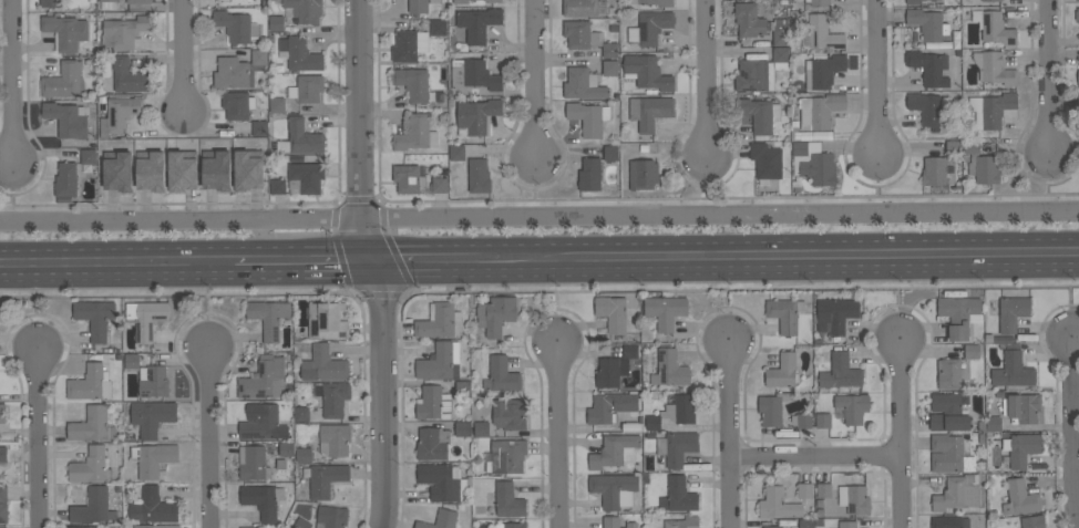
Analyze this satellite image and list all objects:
building: (928, 0)
building: (991, 0)
building: (1078, 0)
building: (460, 1)
building: (494, 1)
building: (915, 1)
building: (51, 2)
building: (655, 2)
building: (819, 2)
building: (107, 3)
building: (138, 4)
building: (420, 6)
building: (579, 8)
building: (305, 10)
building: (1077, 14)
building: (749, 20)
building: (276, 22)
building: (479, 22)
building: (927, 23)
building: (236, 25)
building: (994, 27)
building: (438, 28)
building: (649, 28)
building: (64, 32)
building: (123, 32)
building: (823, 32)
building: (580, 34)
building: (780, 38)
building: (409, 45)
building: (609, 50)
building: (300, 53)
road: (184, 56)
building: (258, 56)
building: (780, 58)
building: (609, 68)
building: (929, 68)
building: (994, 69)
building: (823, 71)
building: (235, 72)
building: (646, 72)
building: (473, 74)
building: (127, 75)
building: (754, 75)
building: (1078, 77)
road: (707, 79)
road: (1050, 79)
road: (875, 80)
building: (63, 81)
road: (535, 81)
building: (412, 83)
road: (12, 84)
building: (583, 84)
building: (307, 89)
building: (1078, 99)
building: (237, 104)
building: (277, 104)
building: (925, 107)
building: (990, 108)
building: (649, 111)
building: (820, 111)
building: (119, 114)
building: (761, 115)
building: (476, 116)
building: (588, 117)
building: (66, 118)
building: (259, 127)
building: (415, 134)
building: (300, 138)
building: (972, 146)
building: (610, 152)
building: (456, 153)
building: (88, 156)
building: (765, 161)
building: (813, 163)
building: (984, 168)
building: (216, 169)
building: (247, 169)
building: (117, 170)
building: (151, 170)
building: (182, 170)
building: (934, 170)
building: (590, 174)
building: (643, 174)
building: (307, 176)
building: (479, 176)
building: (408, 178)
building: (65, 179)
building: (439, 185)
building: (278, 186)
road: (538, 216)
road: (792, 258)
road: (440, 261)
road: (304, 262)
road: (373, 263)
road: (116, 265)
road: (897, 296)
road: (1073, 298)
road: (731, 301)
road: (557, 302)
road: (206, 304)
road: (33, 307)
building: (665, 310)
building: (1013, 312)
building: (612, 313)
building: (784, 313)
building: (495, 314)
building: (834, 314)
building: (958, 314)
building: (95, 317)
building: (268, 317)
building: (145, 318)
building: (328, 320)
building: (440, 321)
building: (629, 350)
building: (132, 361)
building: (440, 362)
building: (323, 364)
building: (669, 369)
building: (610, 371)
building: (781, 371)
building: (1013, 371)
building: (840, 372)
building: (948, 373)
building: (501, 374)
building: (264, 379)
building: (153, 381)
building: (90, 383)
building: (332, 398)
building: (433, 403)
building: (610, 406)
building: (852, 407)
building: (1021, 407)
building: (680, 408)
building: (769, 410)
building: (2, 413)
building: (510, 413)
building: (947, 413)
building: (301, 414)
building: (152, 416)
building: (803, 421)
building: (823, 421)
building: (261, 422)
building: (652, 422)
building: (993, 423)
building: (92, 425)
building: (462, 428)
building: (481, 428)
road: (1073, 429)
road: (900, 431)
road: (731, 435)
road: (561, 436)
road: (35, 437)
road: (209, 437)
building: (335, 439)
building: (432, 444)
building: (677, 447)
building: (286, 448)
building: (1020, 448)
building: (612, 451)
building: (3, 454)
building: (949, 454)
building: (304, 455)
building: (507, 455)
building: (153, 458)
road: (816, 458)
building: (251, 463)
building: (90, 465)
building: (325, 478)
building: (441, 482)
building: (614, 489)
building: (823, 489)
building: (804, 490)
building: (3, 493)
building: (957, 493)
building: (678, 495)
building: (854, 498)
building: (1020, 498)
building: (261, 499)
building: (507, 500)
building: (777, 504)
building: (93, 506)
building: (153, 507)
building: (2, 513)
building: (332, 516)
building: (441, 519)
building: (610, 521)
building: (949, 521)
building: (1032, 521)
building: (681, 522)
building: (301, 524)
building: (805, 524)
building: (511, 525)
building: (631, 525)
building: (847, 525)
building: (158, 526)
building: (772, 526)
building: (3, 527)
building: (82, 527)
building: (247, 527)

